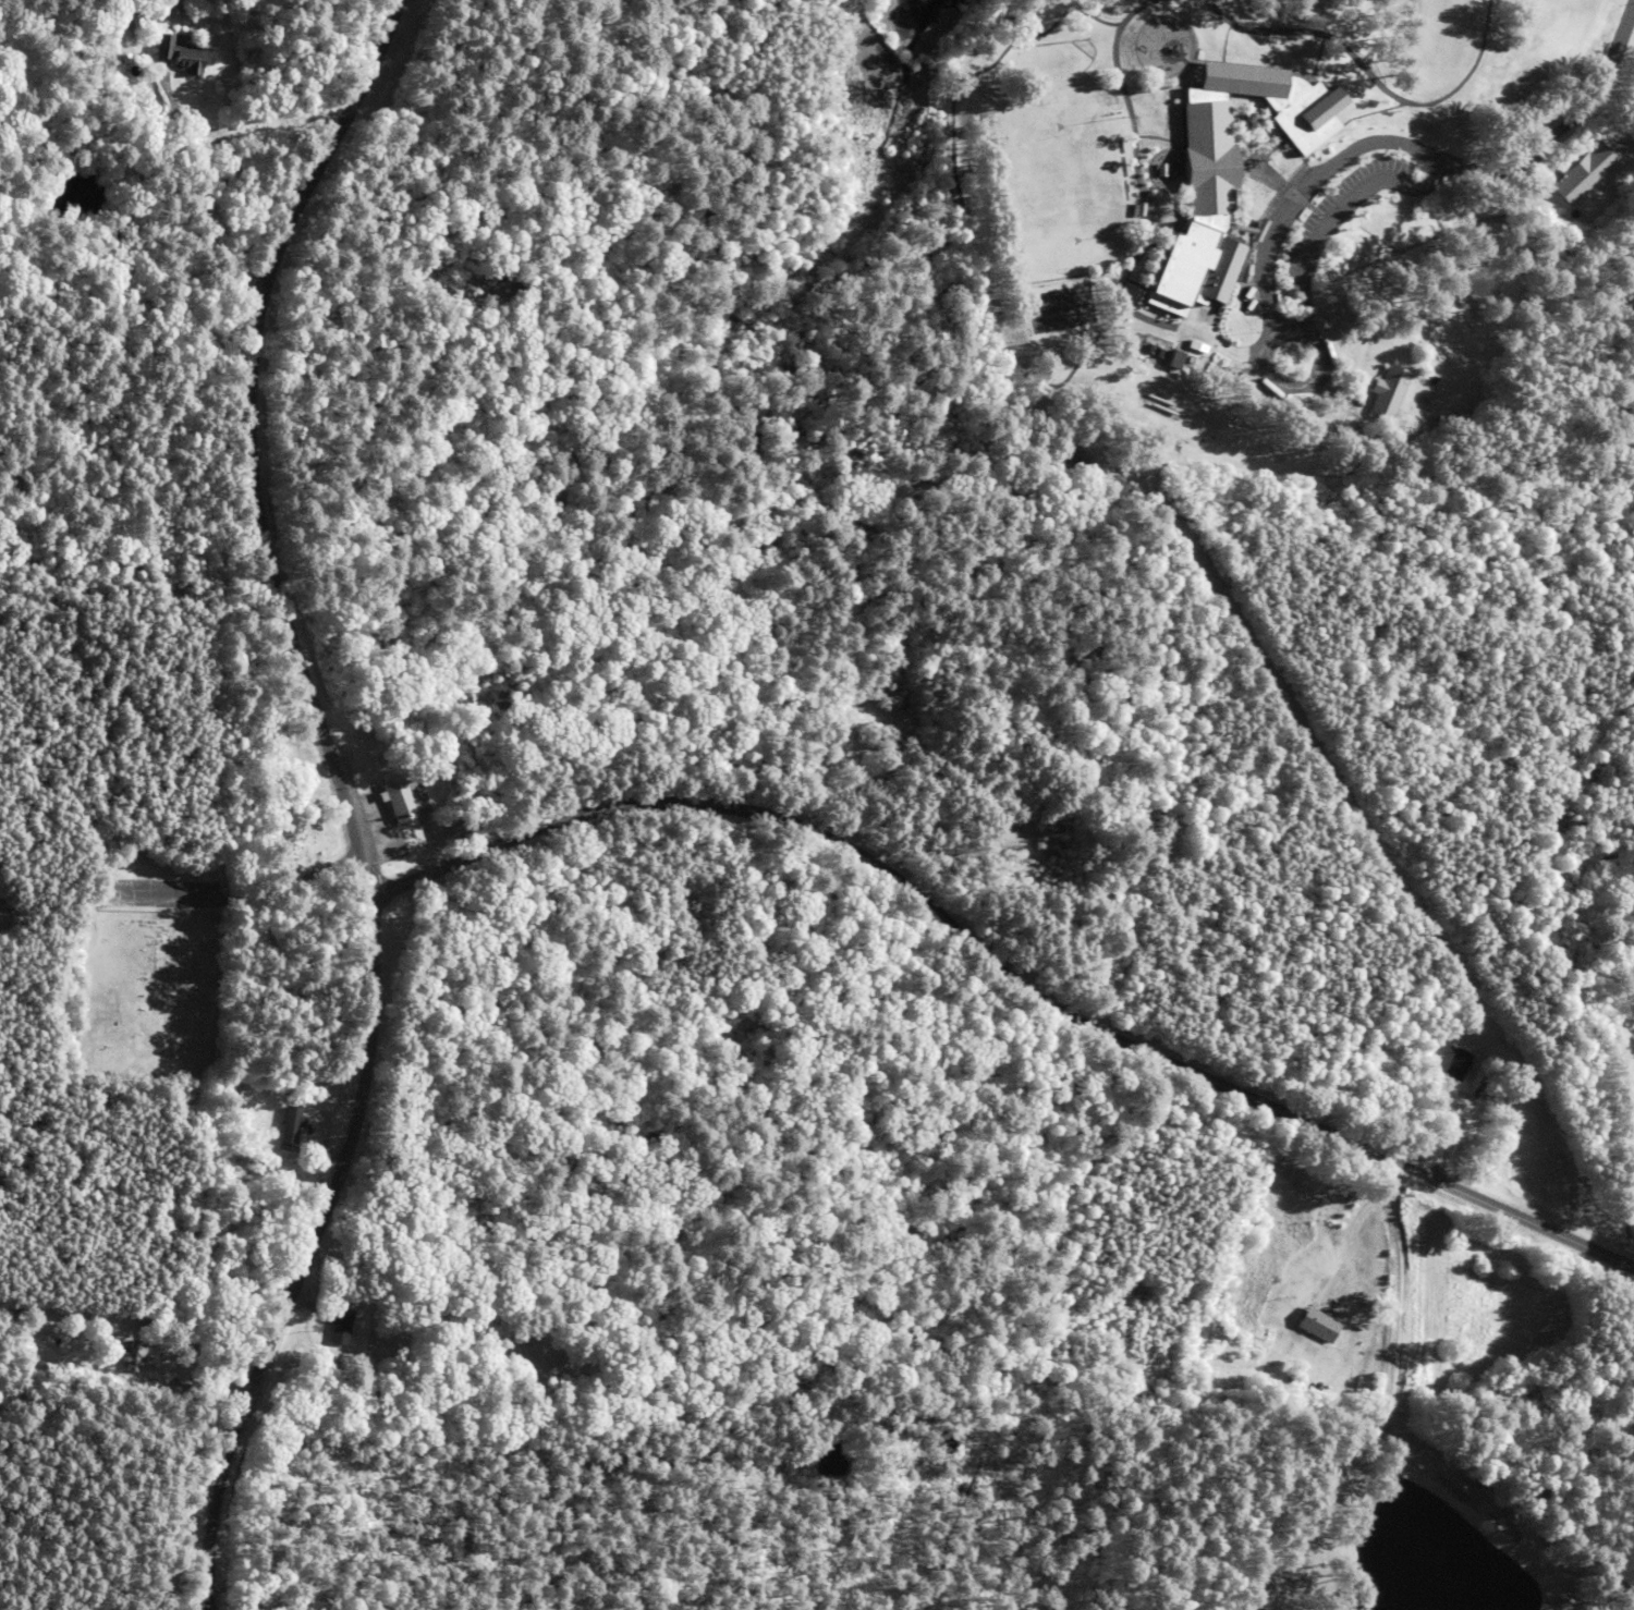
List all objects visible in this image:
building: (180, 56)
road: (1586, 126)
road: (1430, 149)
road: (1548, 164)
building: (1587, 171)
building: (1225, 175)
park: (1059, 185)
road: (1348, 210)
parking lot: (1344, 214)
park: (1063, 308)
building: (1176, 361)
road: (1306, 388)
building: (1387, 389)
road: (344, 774)
building: (389, 797)
building: (460, 826)
road: (1013, 946)
building: (1633, 1045)
building: (1459, 1065)
building: (291, 1123)
building: (1321, 1324)
building: (340, 1326)
building: (131, 1355)
road: (195, 1583)

